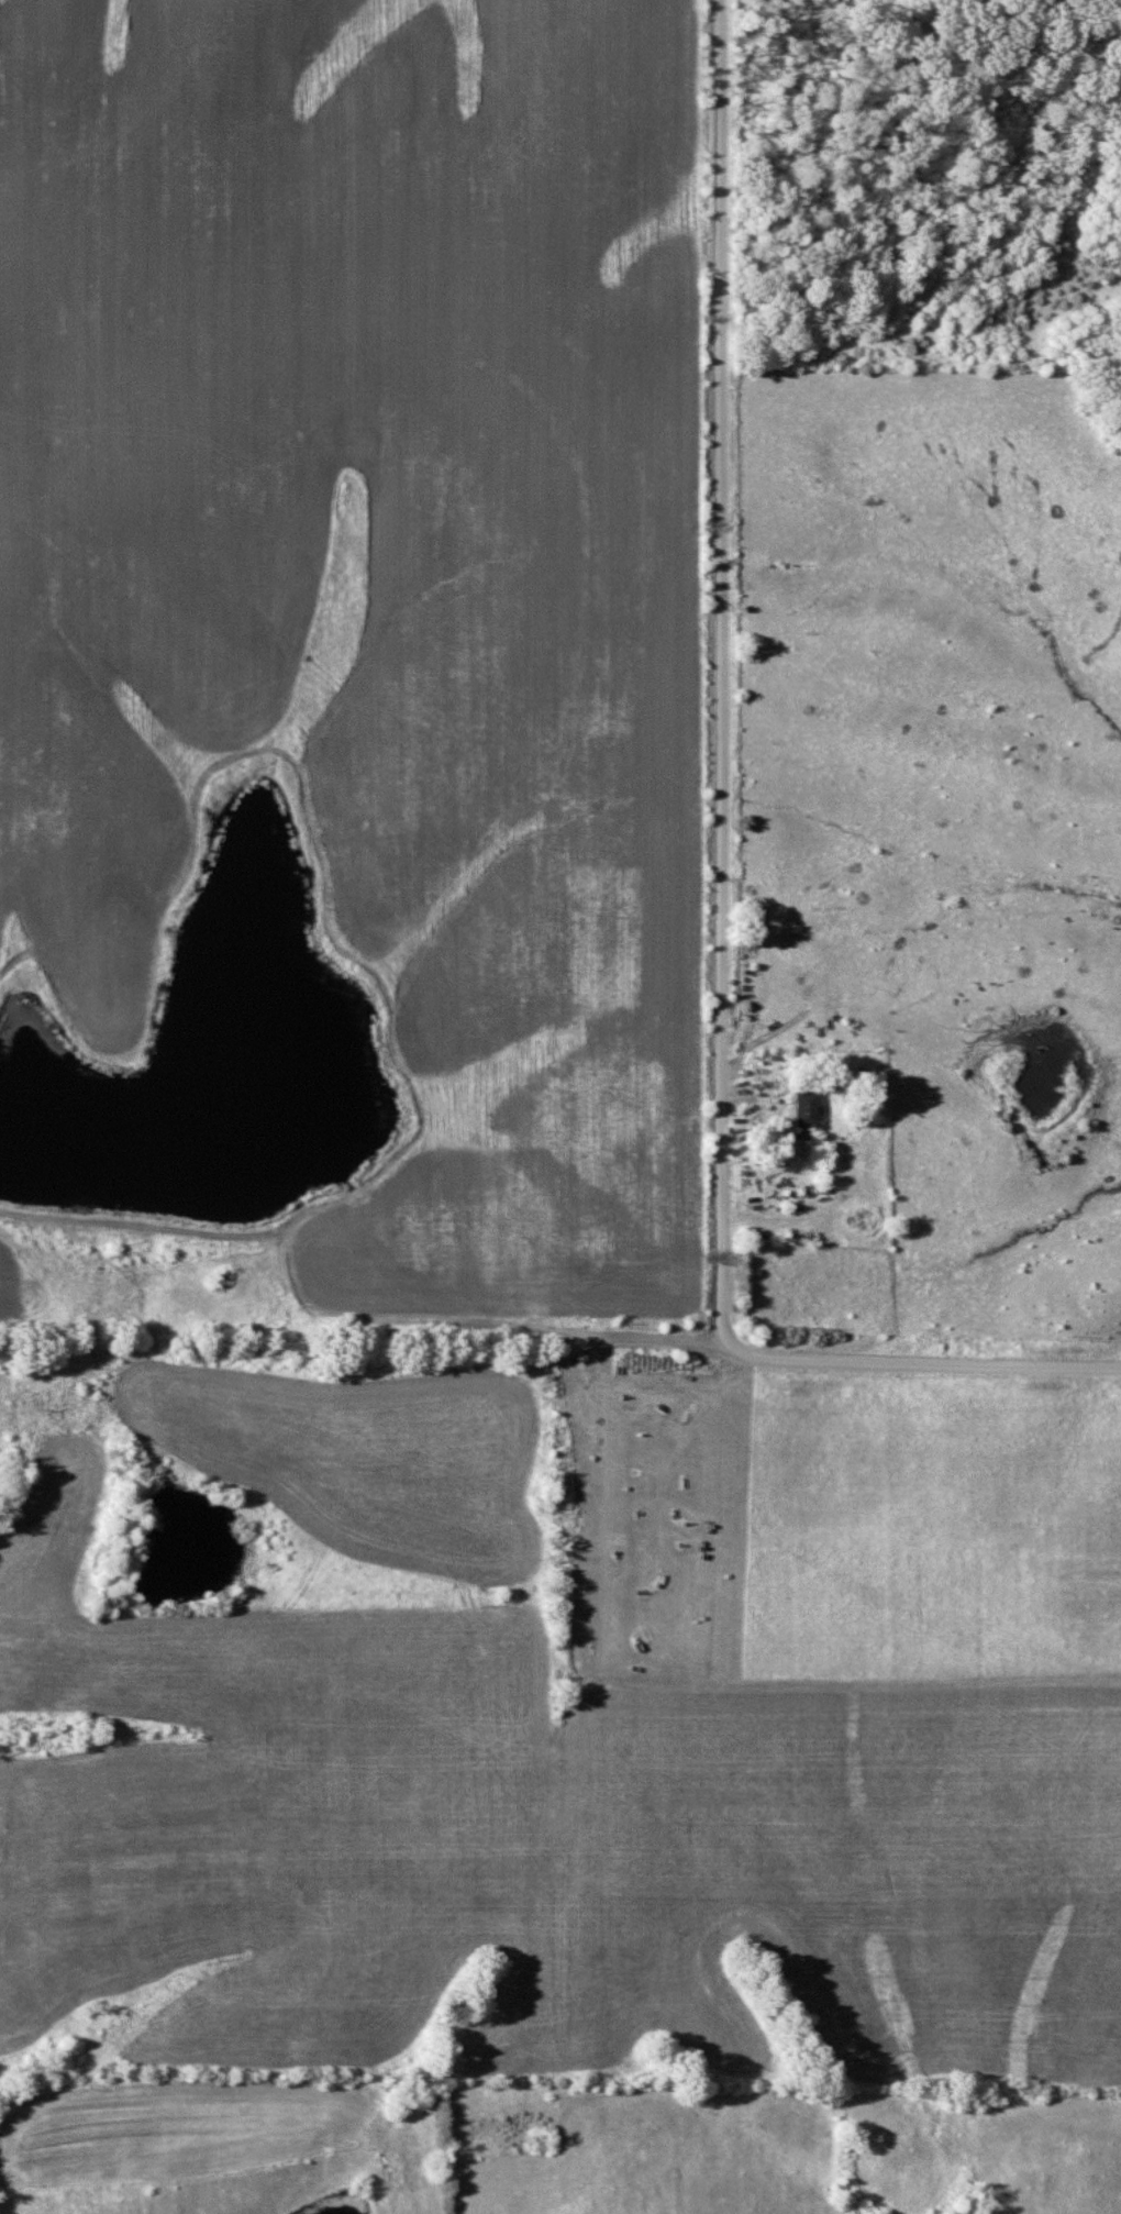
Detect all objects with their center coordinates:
road: (707, 667)
building: (807, 1109)
road: (923, 1341)

